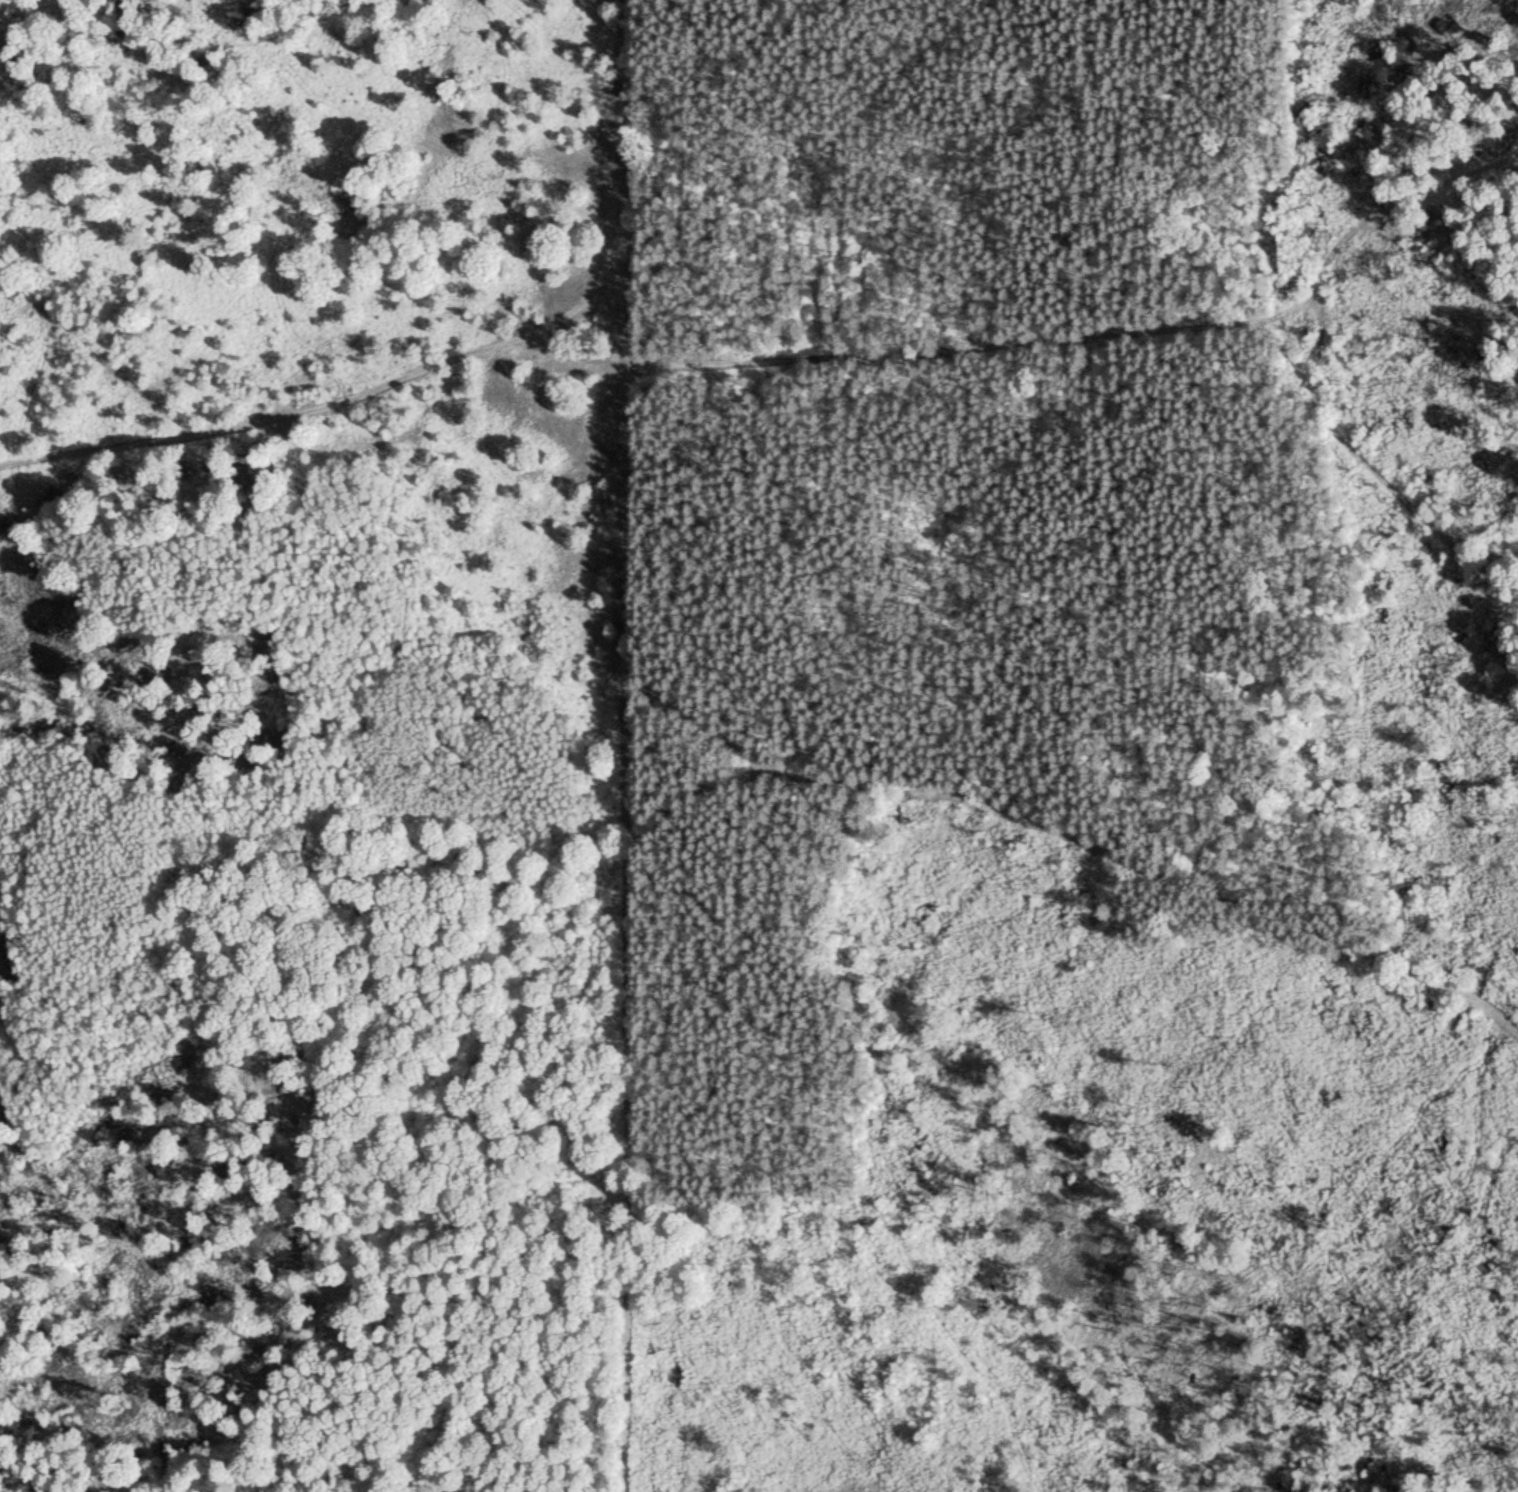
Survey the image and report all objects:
road: (321, 410)
road: (615, 745)
road: (1071, 839)

